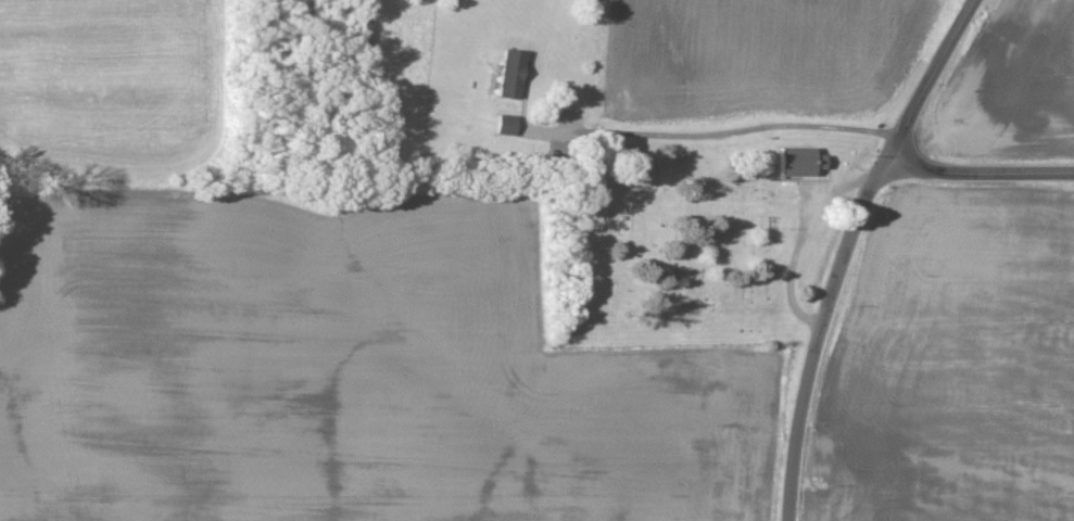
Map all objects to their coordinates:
building: (509, 75)
road: (928, 78)
building: (506, 127)
building: (797, 163)
road: (977, 173)
road: (817, 334)

